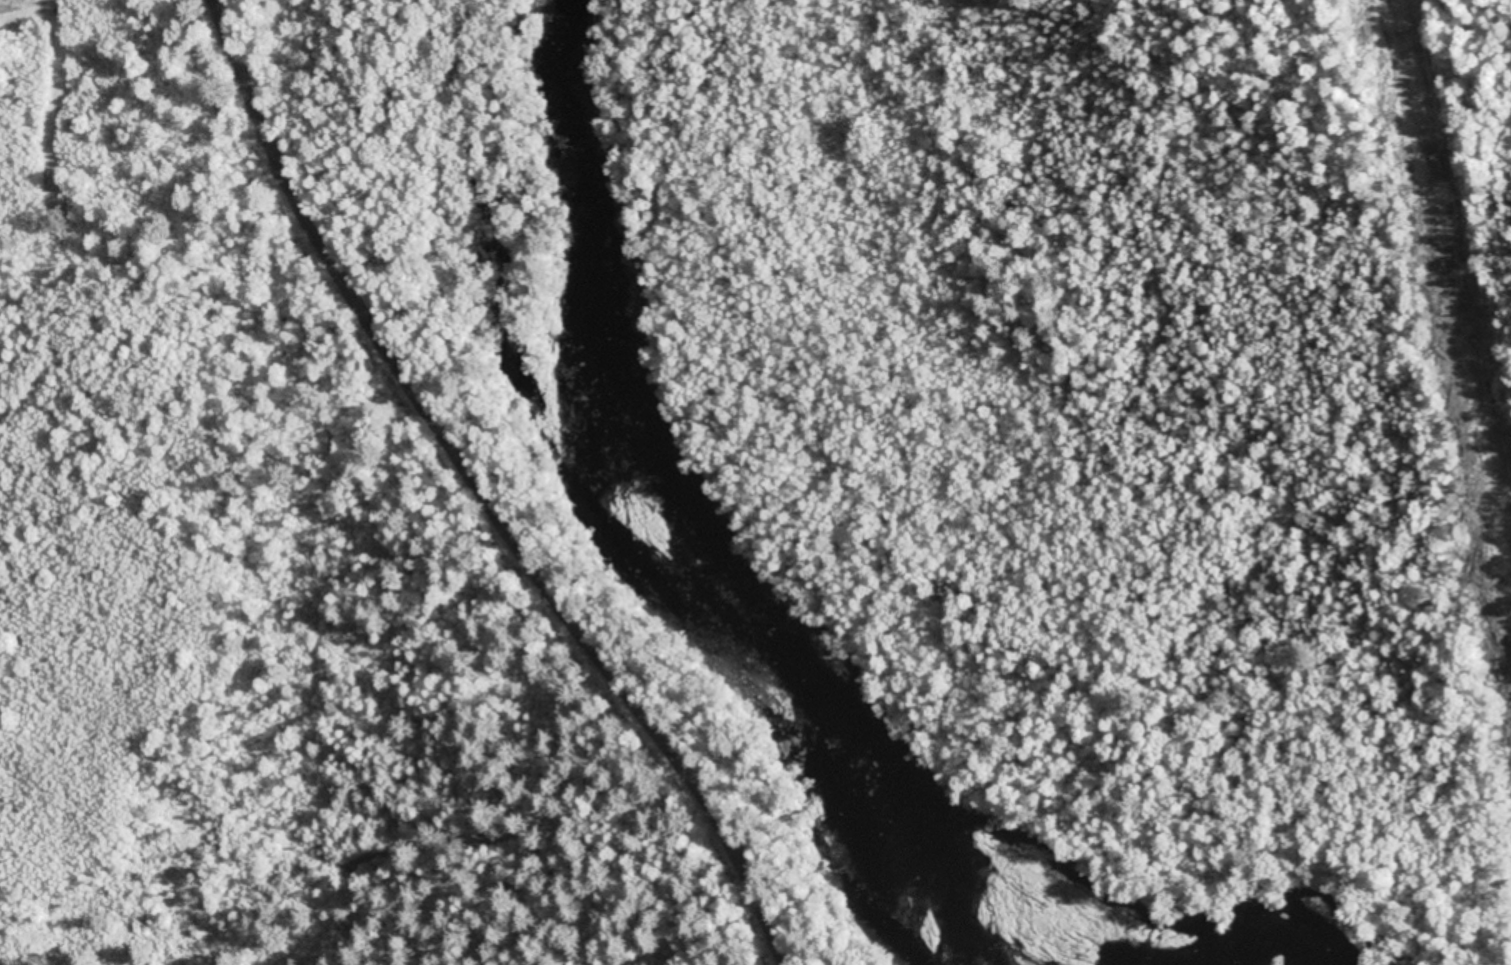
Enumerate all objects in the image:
road: (506, 482)
river: (786, 635)

